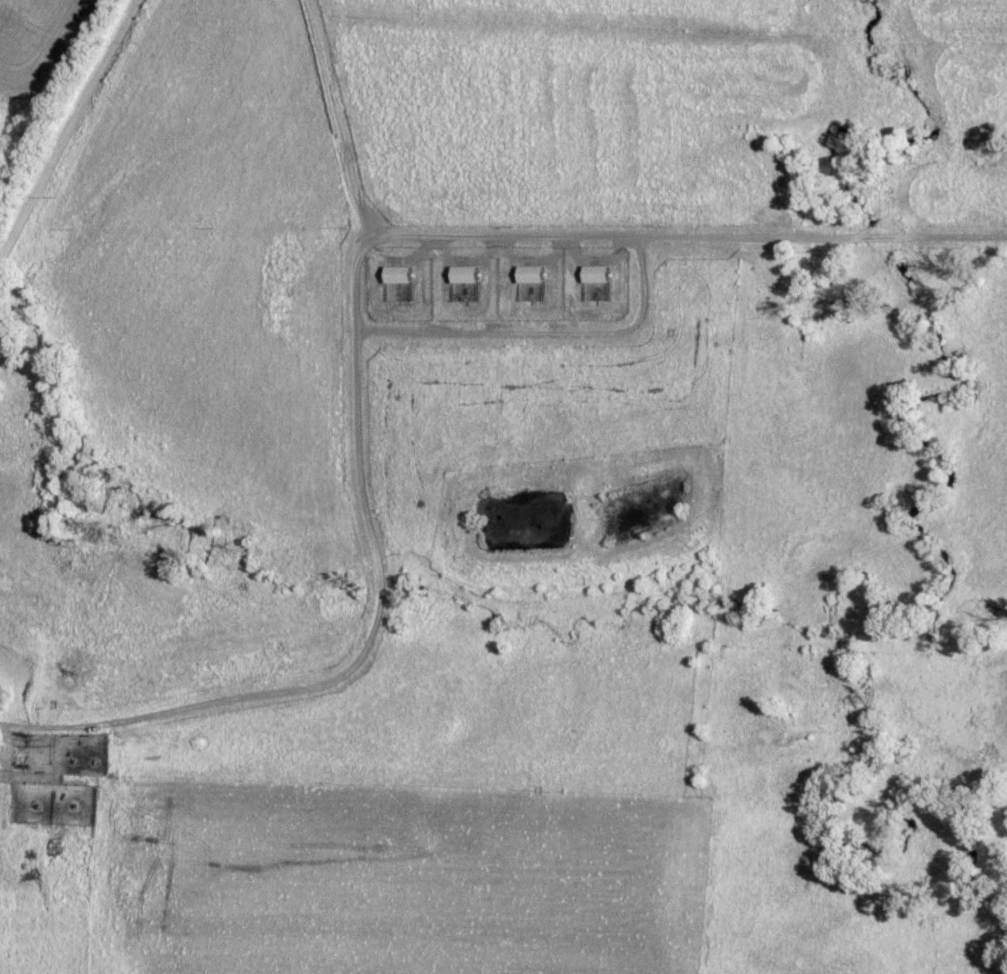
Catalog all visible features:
road: (70, 134)
building: (532, 280)
building: (401, 285)
building: (467, 285)
building: (597, 285)
road: (352, 320)

